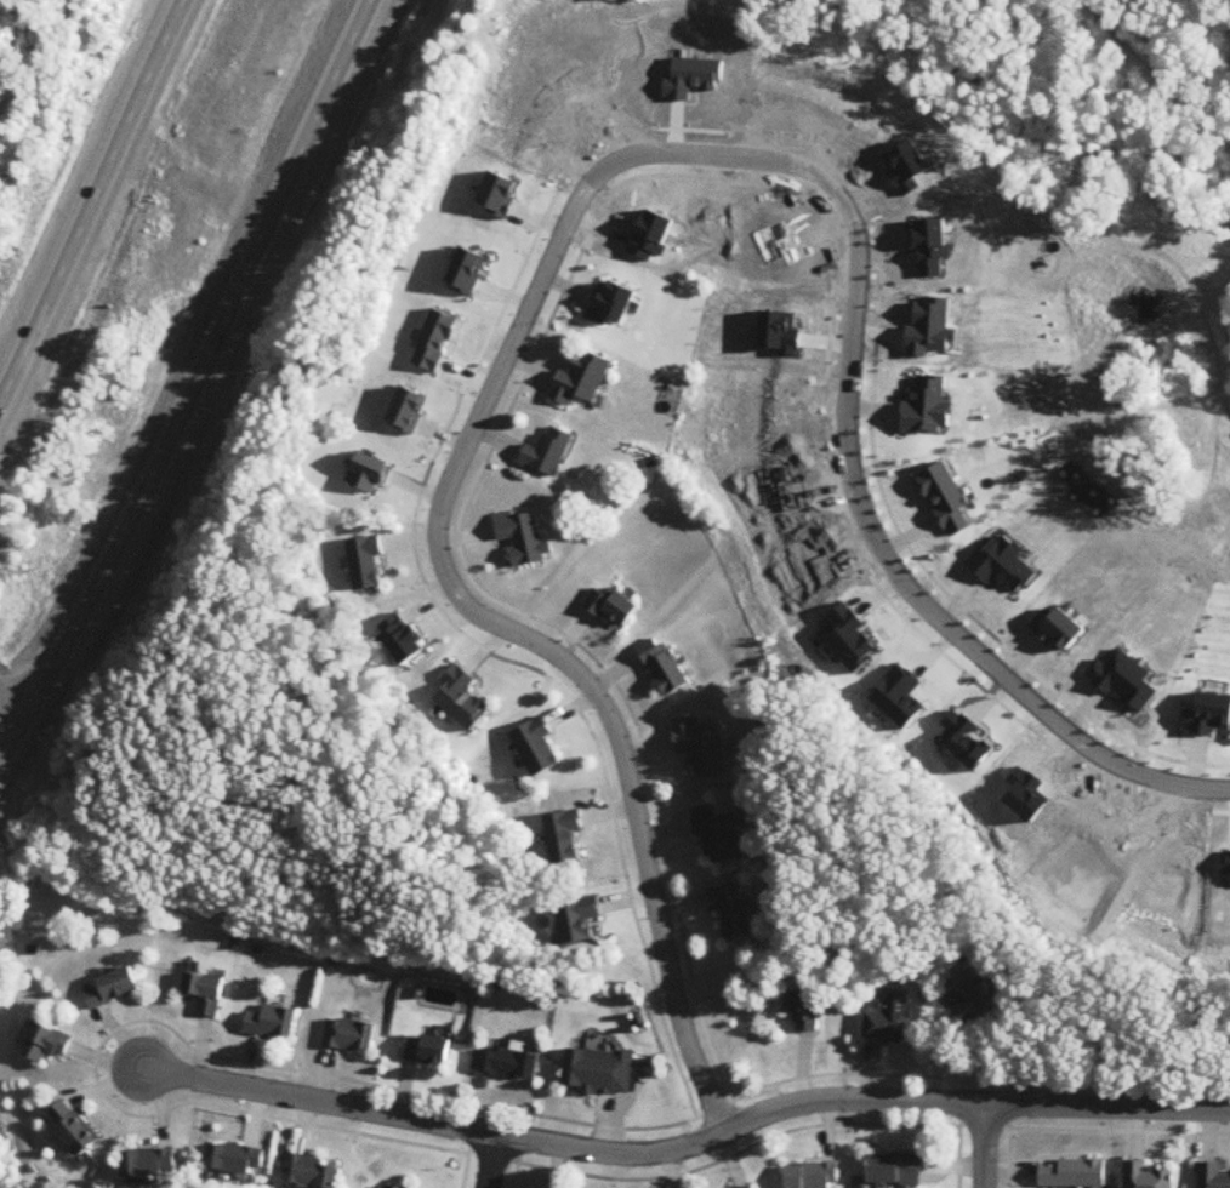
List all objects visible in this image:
park: (32, 64)
road: (588, 189)
road: (91, 205)
road: (530, 370)
building: (582, 382)
road: (192, 385)
road: (518, 394)
road: (497, 442)
building: (549, 453)
building: (366, 564)
building: (611, 609)
building: (664, 668)
road: (16, 699)
building: (701, 748)
building: (537, 750)
building: (718, 836)
building: (564, 839)
road: (662, 841)
building: (730, 912)
building: (577, 923)
building: (113, 989)
building: (206, 994)
building: (969, 998)
building: (803, 1011)
building: (273, 1024)
building: (886, 1028)
building: (349, 1036)
road: (109, 1040)
building: (46, 1045)
building: (426, 1051)
building: (506, 1064)
building: (598, 1074)
building: (74, 1127)
road: (958, 1130)
road: (1091, 1132)
road: (688, 1146)
road: (984, 1146)
building: (235, 1159)
road: (495, 1161)
building: (149, 1164)
building: (895, 1170)
road: (467, 1171)
building: (312, 1172)
building: (1074, 1173)
building: (812, 1176)
building: (1146, 1176)
building: (1213, 1176)
building: (398, 1187)
building: (752, 1187)

